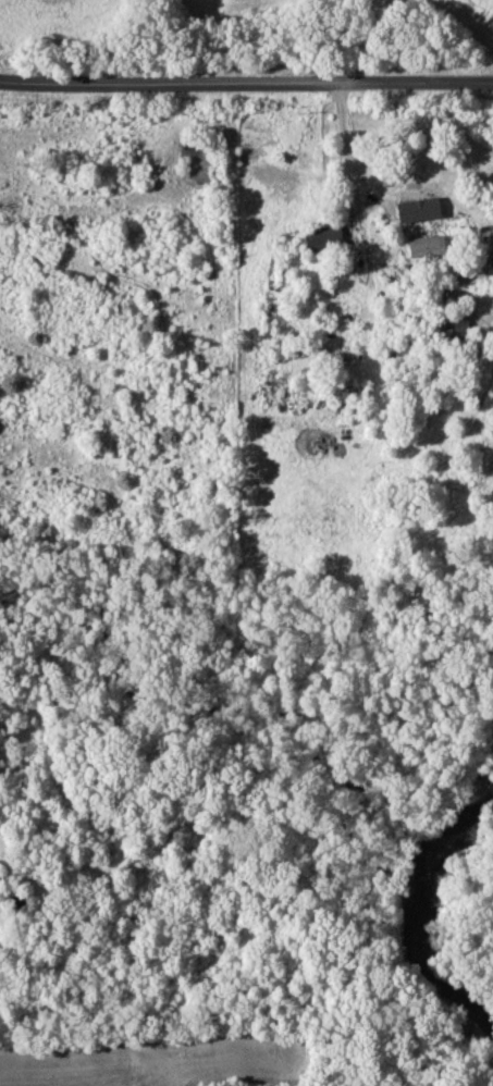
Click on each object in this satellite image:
road: (246, 81)
road: (345, 143)
building: (410, 213)
building: (329, 239)
building: (432, 247)
building: (481, 277)
river: (428, 920)

